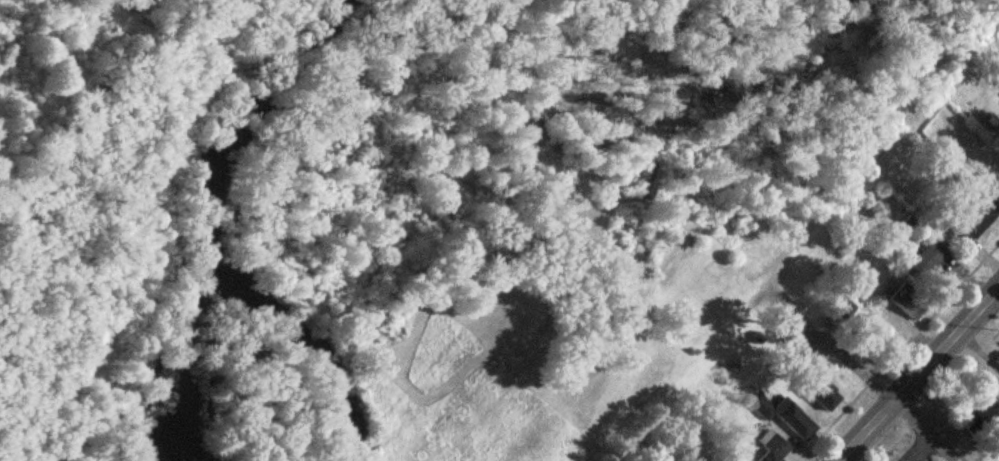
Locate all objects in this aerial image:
river: (521, 165)
building: (975, 224)
building: (930, 265)
building: (909, 304)
building: (841, 309)
building: (875, 343)
building: (997, 360)
road: (919, 375)
road: (874, 385)
building: (825, 396)
building: (981, 411)
building: (785, 416)
building: (774, 448)

